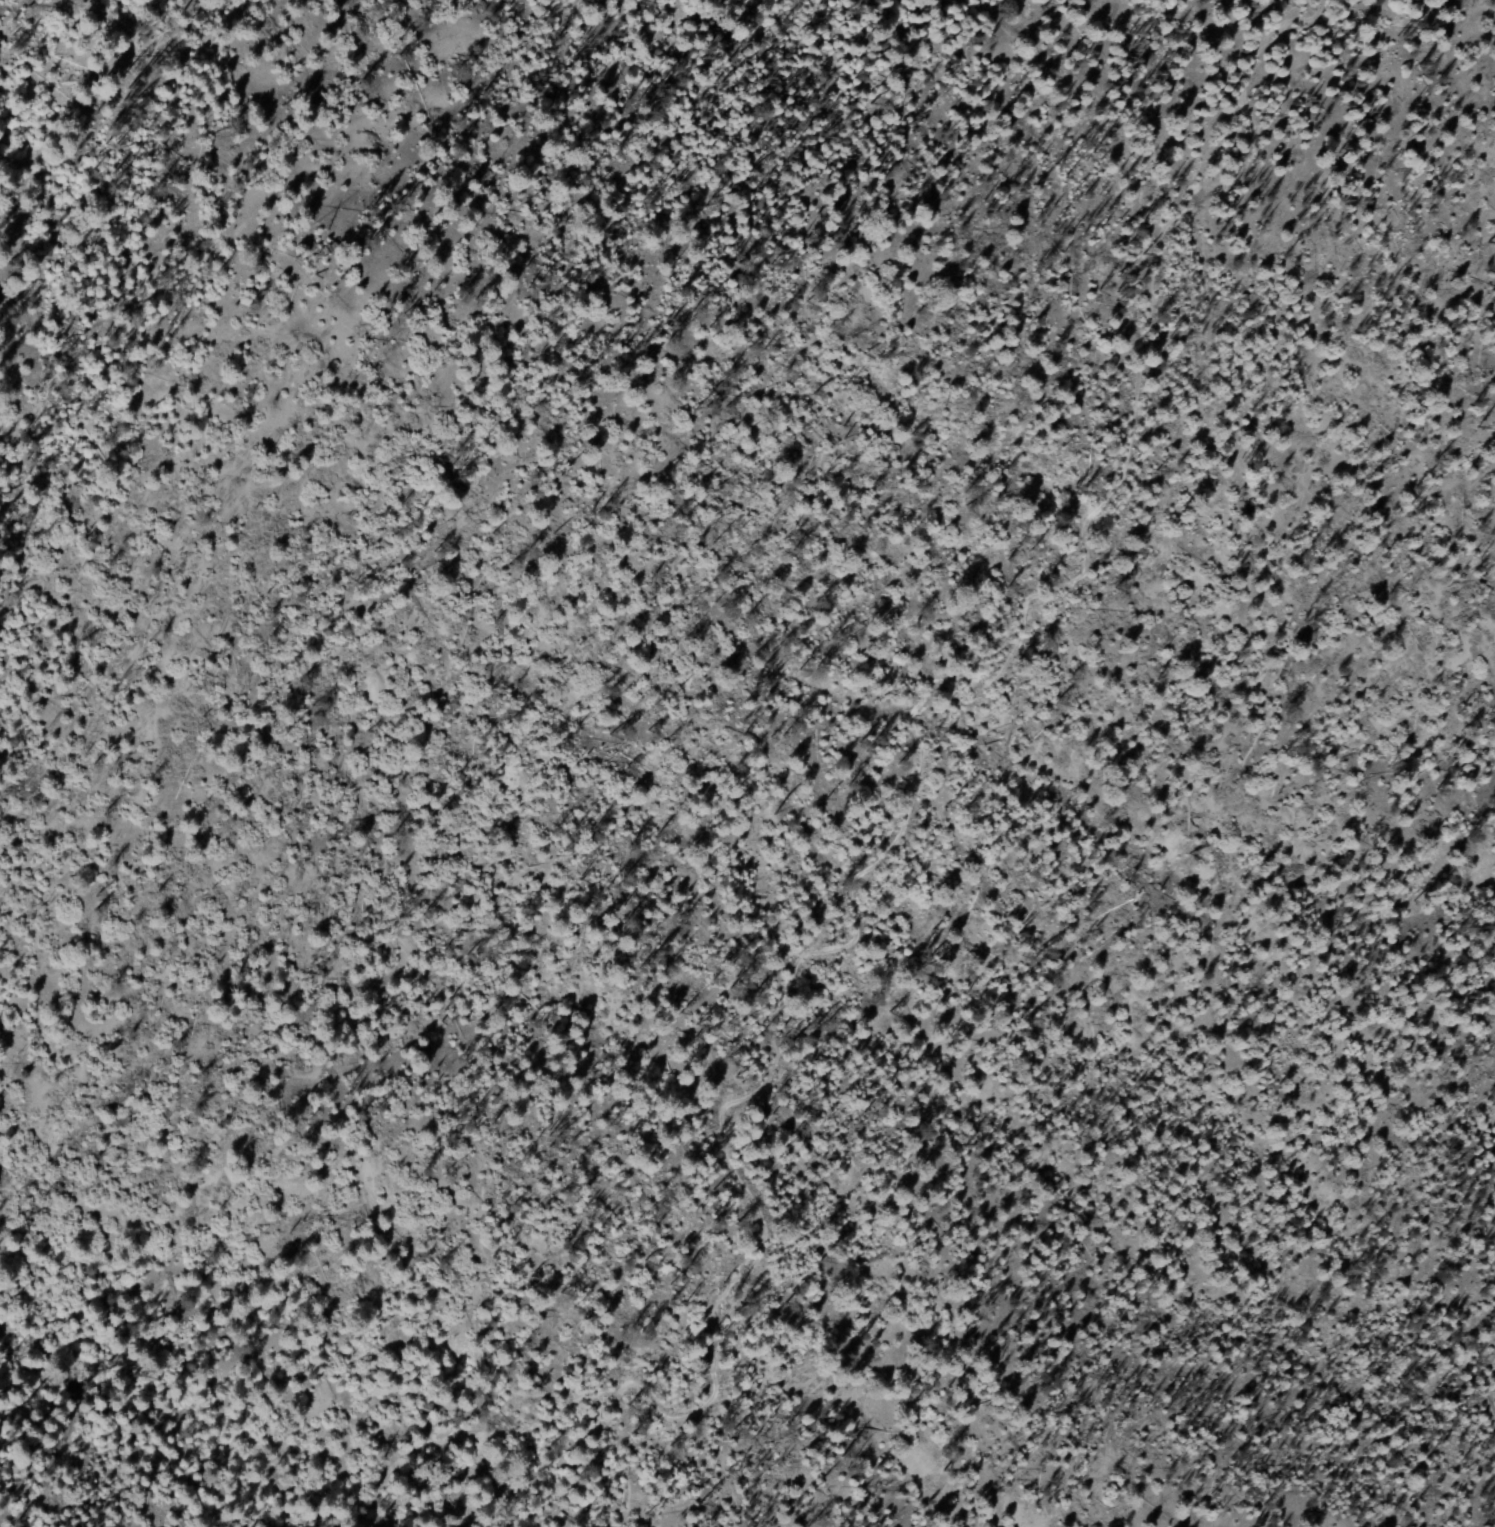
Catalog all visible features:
road: (858, 873)

